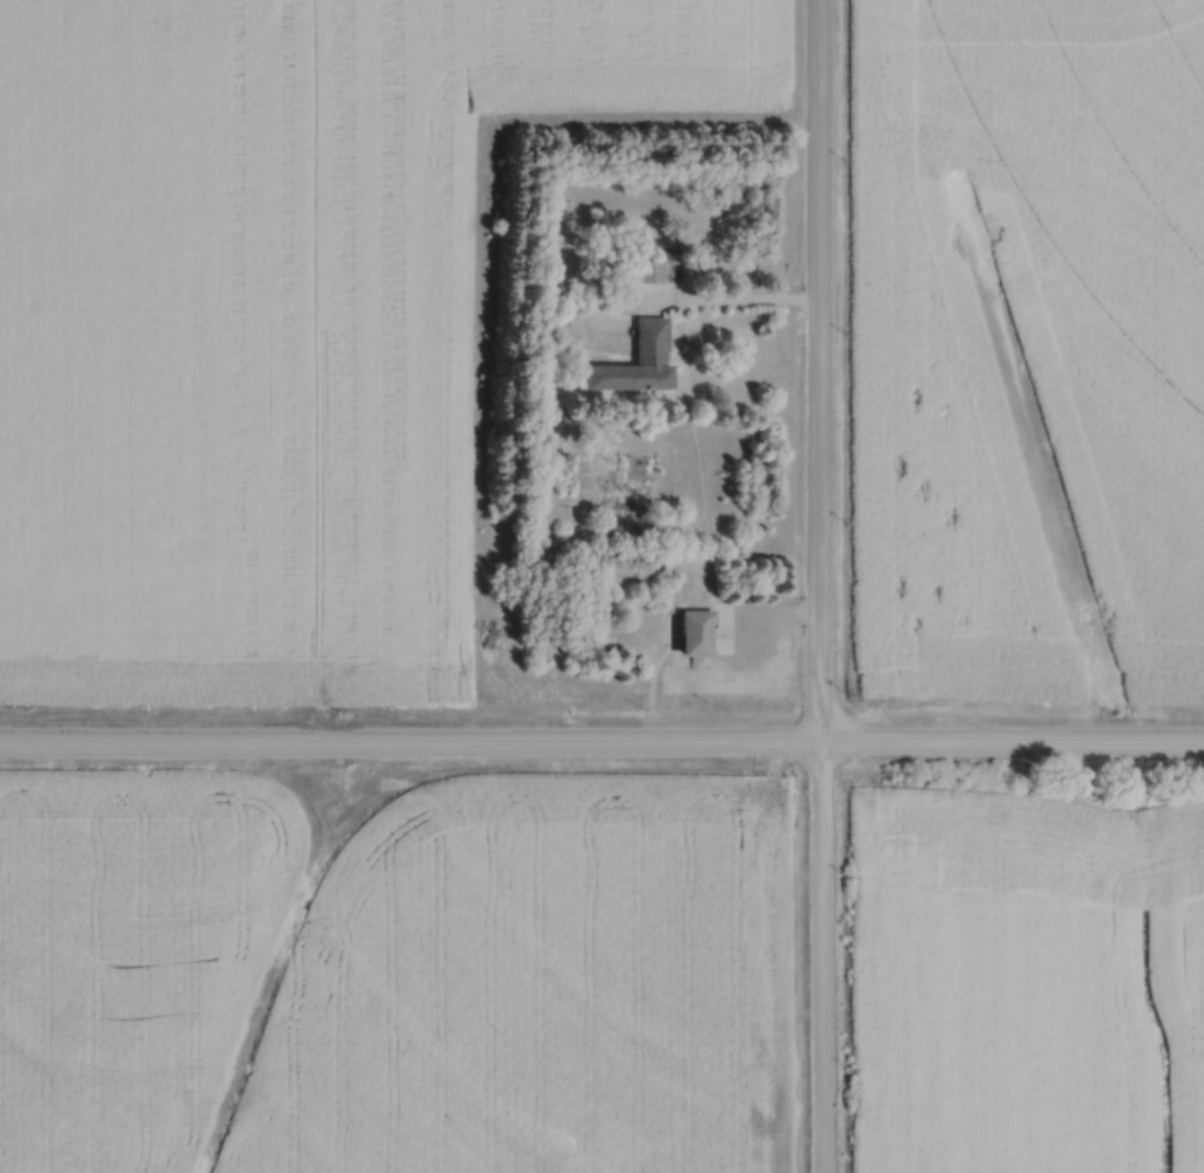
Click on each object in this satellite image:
building: (646, 273)
road: (738, 303)
building: (634, 363)
road: (820, 586)
building: (692, 633)
road: (410, 747)
road: (1011, 747)
crop: (1027, 983)

